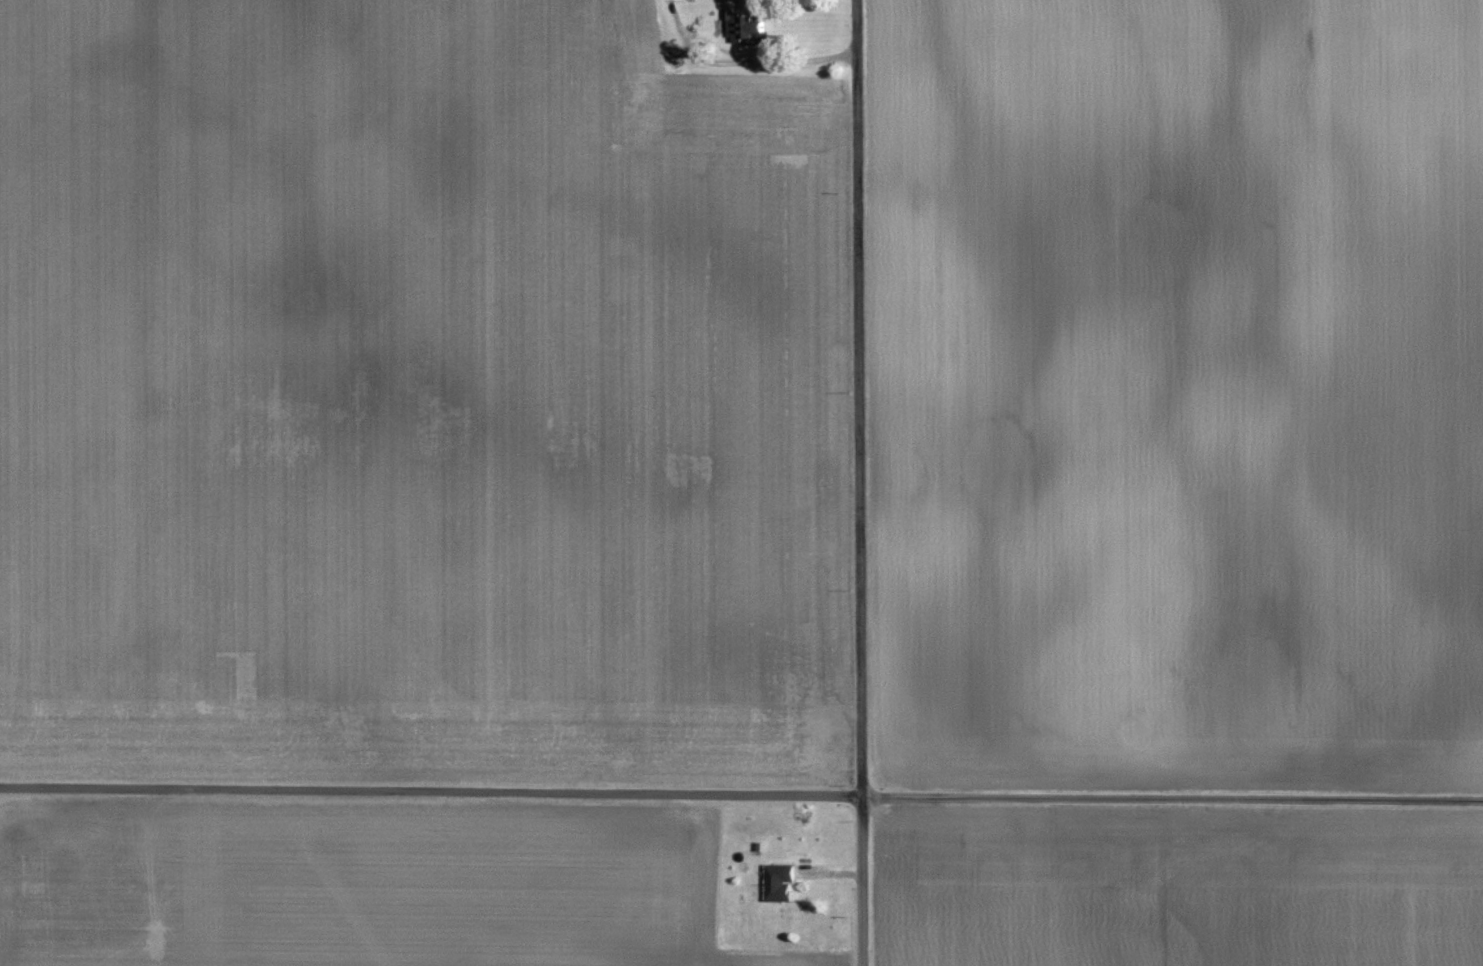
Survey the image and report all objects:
road: (863, 482)
road: (741, 791)
building: (780, 883)

